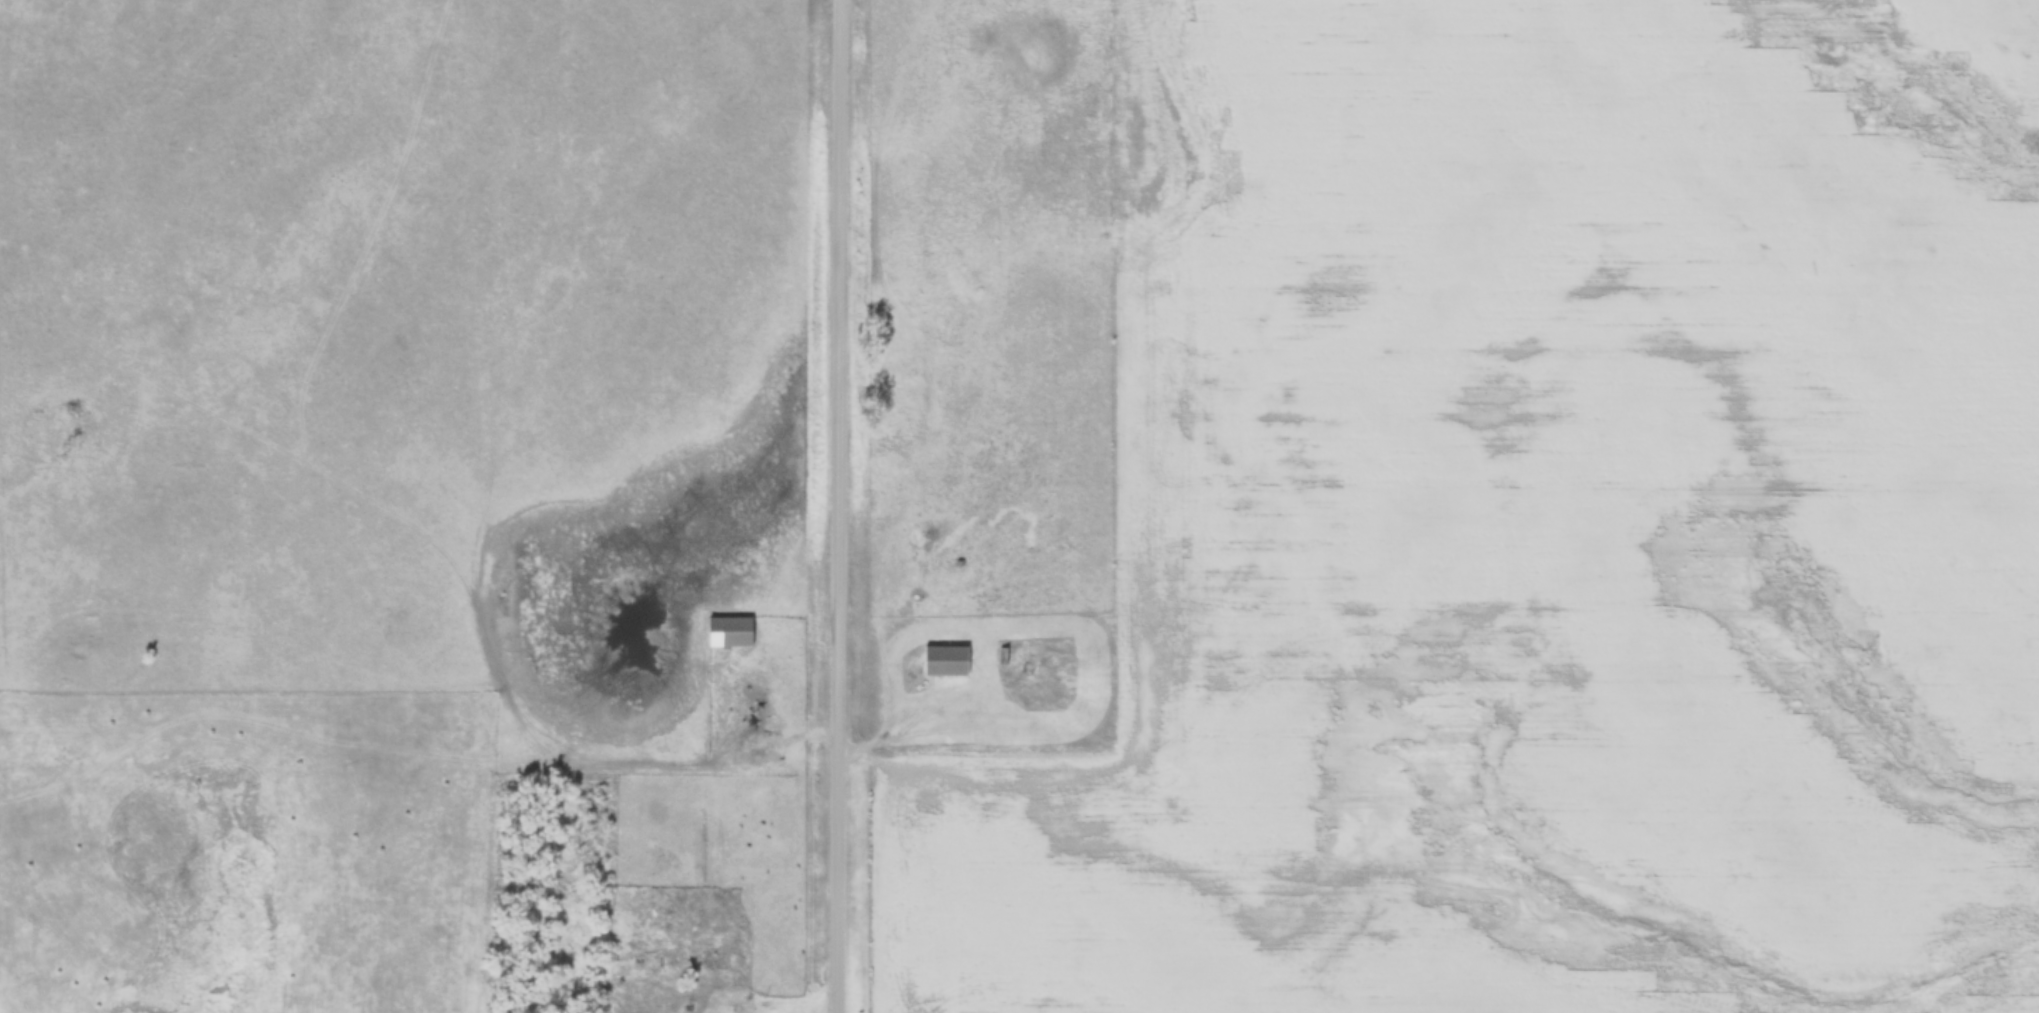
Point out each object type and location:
road: (839, 506)
building: (731, 629)
building: (947, 658)

